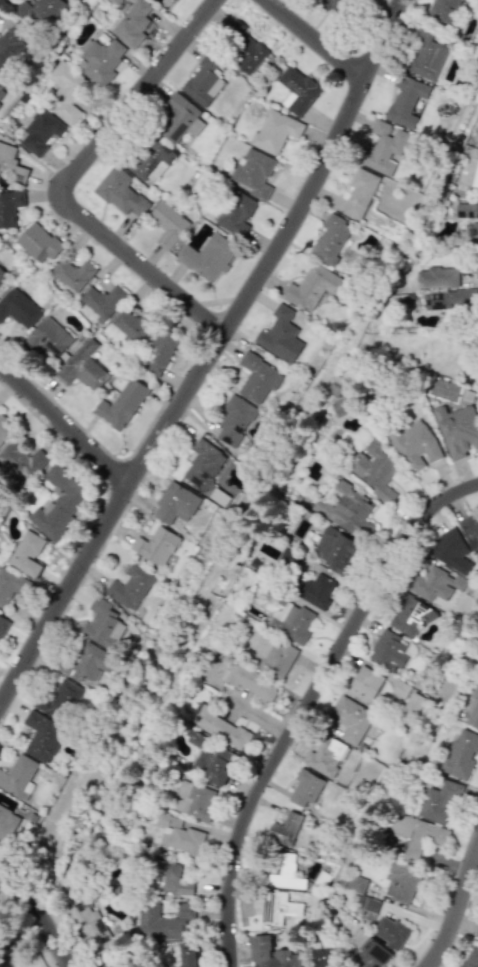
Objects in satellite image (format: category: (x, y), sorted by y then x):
building: (172, 0)
building: (116, 1)
building: (337, 6)
building: (442, 10)
building: (38, 12)
building: (133, 24)
road: (315, 39)
building: (11, 44)
building: (245, 49)
building: (427, 57)
building: (100, 60)
building: (203, 82)
building: (2, 83)
building: (296, 90)
building: (66, 91)
building: (406, 100)
building: (0, 103)
building: (181, 119)
building: (275, 131)
building: (41, 132)
building: (385, 148)
building: (150, 159)
building: (11, 164)
building: (254, 172)
building: (475, 176)
road: (65, 177)
building: (120, 192)
building: (360, 193)
building: (10, 207)
building: (466, 211)
building: (236, 213)
building: (170, 230)
building: (474, 232)
building: (331, 239)
building: (38, 243)
building: (208, 257)
building: (475, 269)
building: (2, 274)
building: (73, 275)
building: (437, 277)
building: (312, 287)
building: (102, 301)
building: (18, 308)
building: (132, 325)
building: (277, 332)
building: (49, 338)
building: (160, 352)
road: (209, 356)
building: (83, 368)
building: (258, 378)
building: (121, 404)
building: (341, 407)
building: (234, 420)
road: (63, 426)
building: (4, 430)
building: (458, 430)
building: (414, 445)
building: (22, 461)
building: (203, 464)
building: (373, 468)
building: (59, 502)
building: (176, 504)
building: (348, 510)
building: (470, 532)
building: (156, 546)
building: (335, 550)
building: (451, 551)
building: (27, 554)
building: (290, 558)
building: (435, 584)
building: (11, 586)
building: (130, 587)
building: (313, 590)
building: (408, 616)
building: (292, 622)
building: (3, 624)
building: (102, 624)
building: (388, 651)
building: (275, 657)
building: (86, 662)
building: (249, 681)
building: (364, 685)
building: (59, 700)
road: (310, 706)
building: (473, 710)
building: (351, 719)
building: (220, 727)
building: (42, 736)
building: (462, 754)
building: (326, 756)
building: (211, 758)
building: (18, 776)
building: (305, 788)
building: (195, 800)
building: (441, 802)
building: (7, 823)
building: (286, 829)
building: (418, 834)
building: (178, 835)
building: (284, 873)
building: (169, 879)
building: (402, 881)
building: (355, 884)
building: (276, 907)
building: (369, 909)
road: (50, 910)
road: (457, 910)
building: (86, 921)
building: (165, 922)
building: (391, 932)
building: (477, 936)
building: (323, 956)
building: (471, 958)
building: (190, 961)
building: (114, 964)

